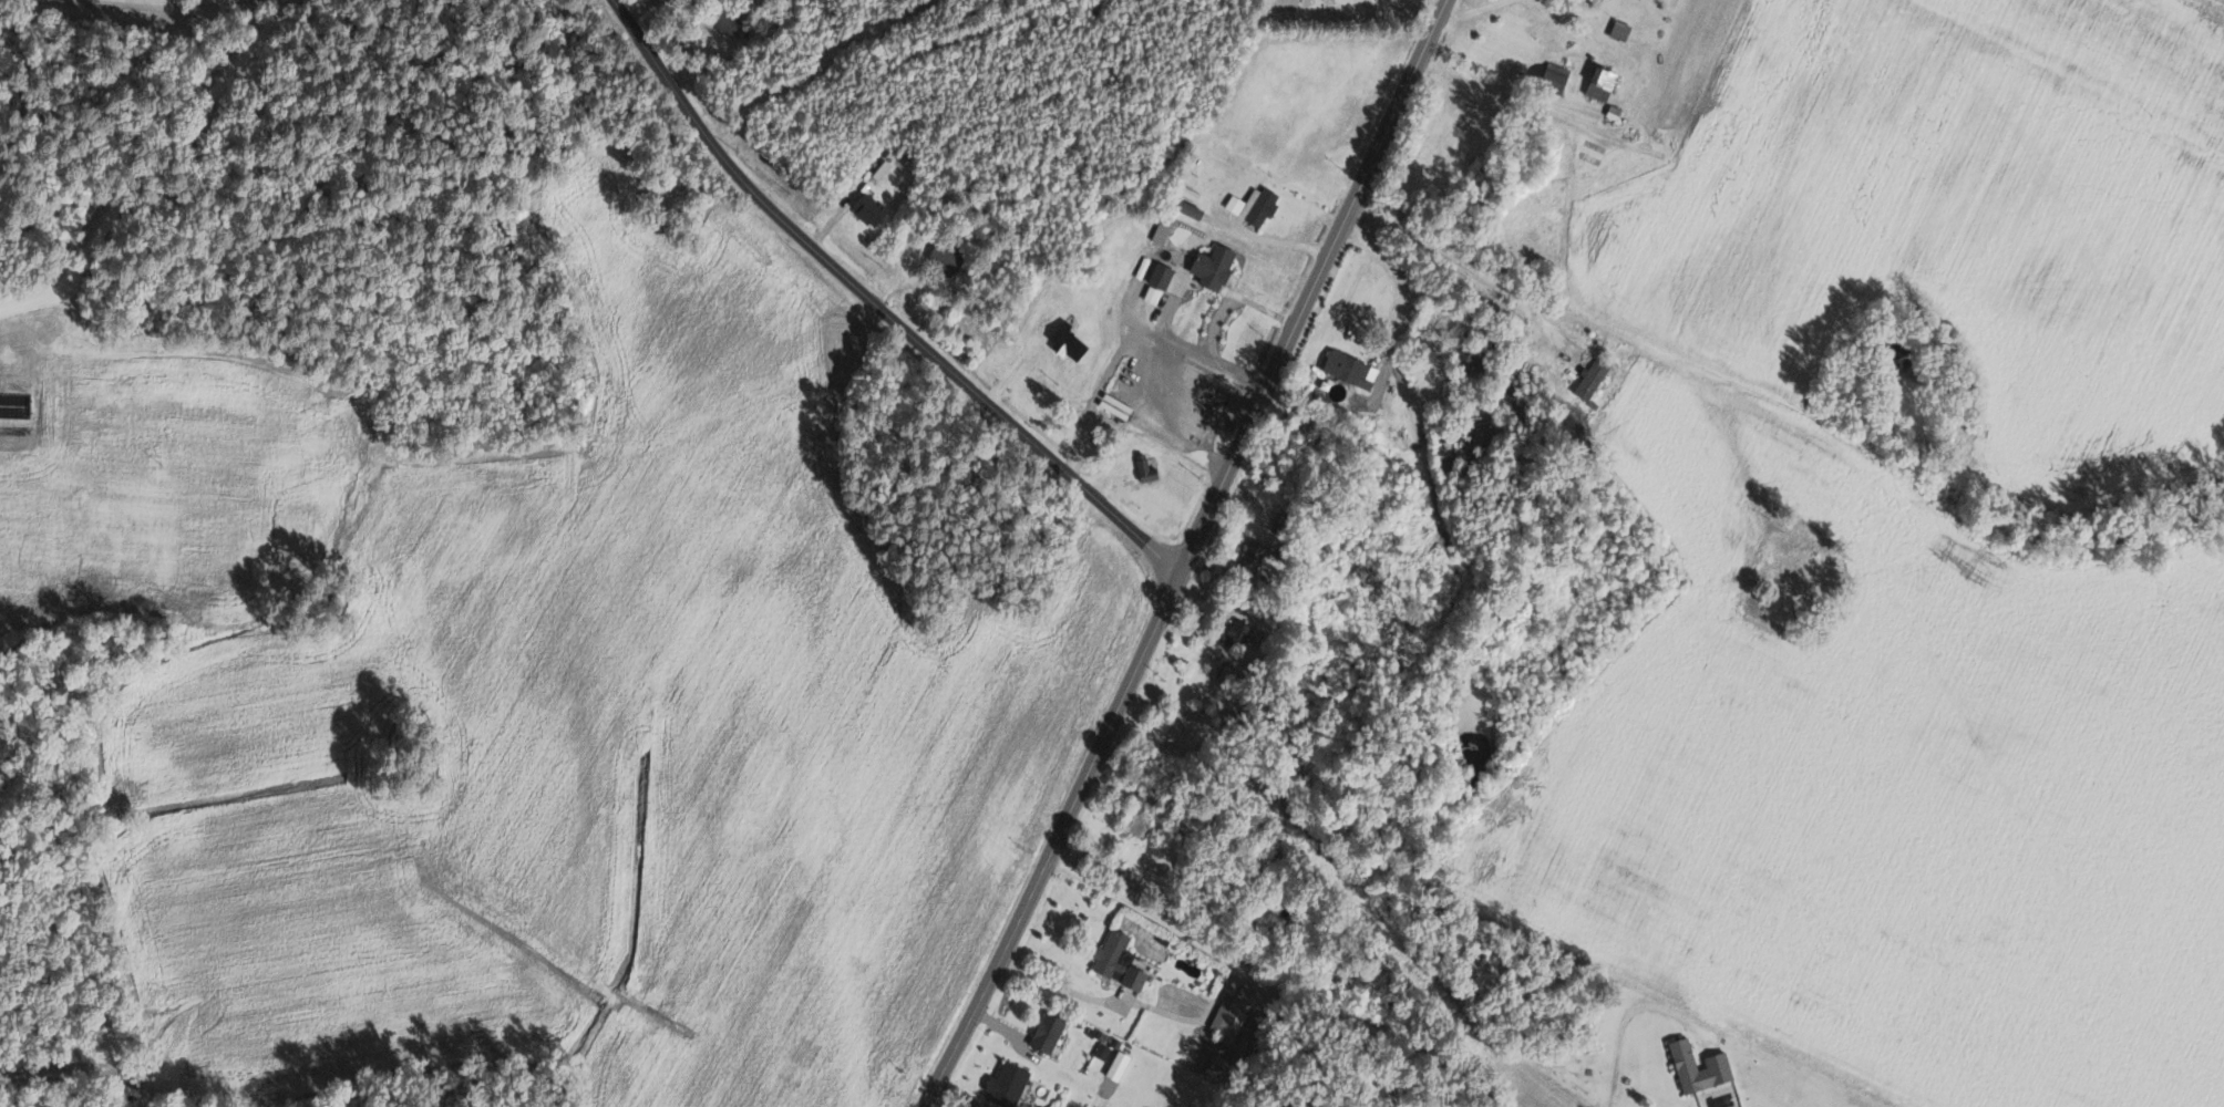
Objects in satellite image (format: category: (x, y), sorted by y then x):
road: (1565, 7)
road: (182, 8)
building: (731, 25)
building: (1617, 31)
building: (1548, 77)
building: (1598, 85)
road: (146, 165)
building: (1258, 205)
building: (874, 209)
building: (1164, 230)
road: (1268, 239)
building: (950, 258)
building: (1218, 266)
building: (1164, 275)
building: (1155, 293)
road: (1236, 299)
road: (873, 304)
road: (1525, 340)
building: (1073, 342)
road: (1154, 368)
building: (1353, 368)
building: (1594, 377)
road: (1400, 380)
road: (1203, 386)
building: (1446, 448)
building: (1150, 469)
road: (1185, 553)
building: (1256, 556)
building: (1244, 634)
building: (1156, 795)
building: (1141, 825)
building: (1122, 961)
road: (1270, 983)
road: (1131, 1003)
road: (1626, 1017)
building: (1240, 1021)
building: (1052, 1032)
building: (1106, 1044)
building: (1721, 1062)
building: (1121, 1065)
road: (1387, 1065)
building: (1011, 1085)

